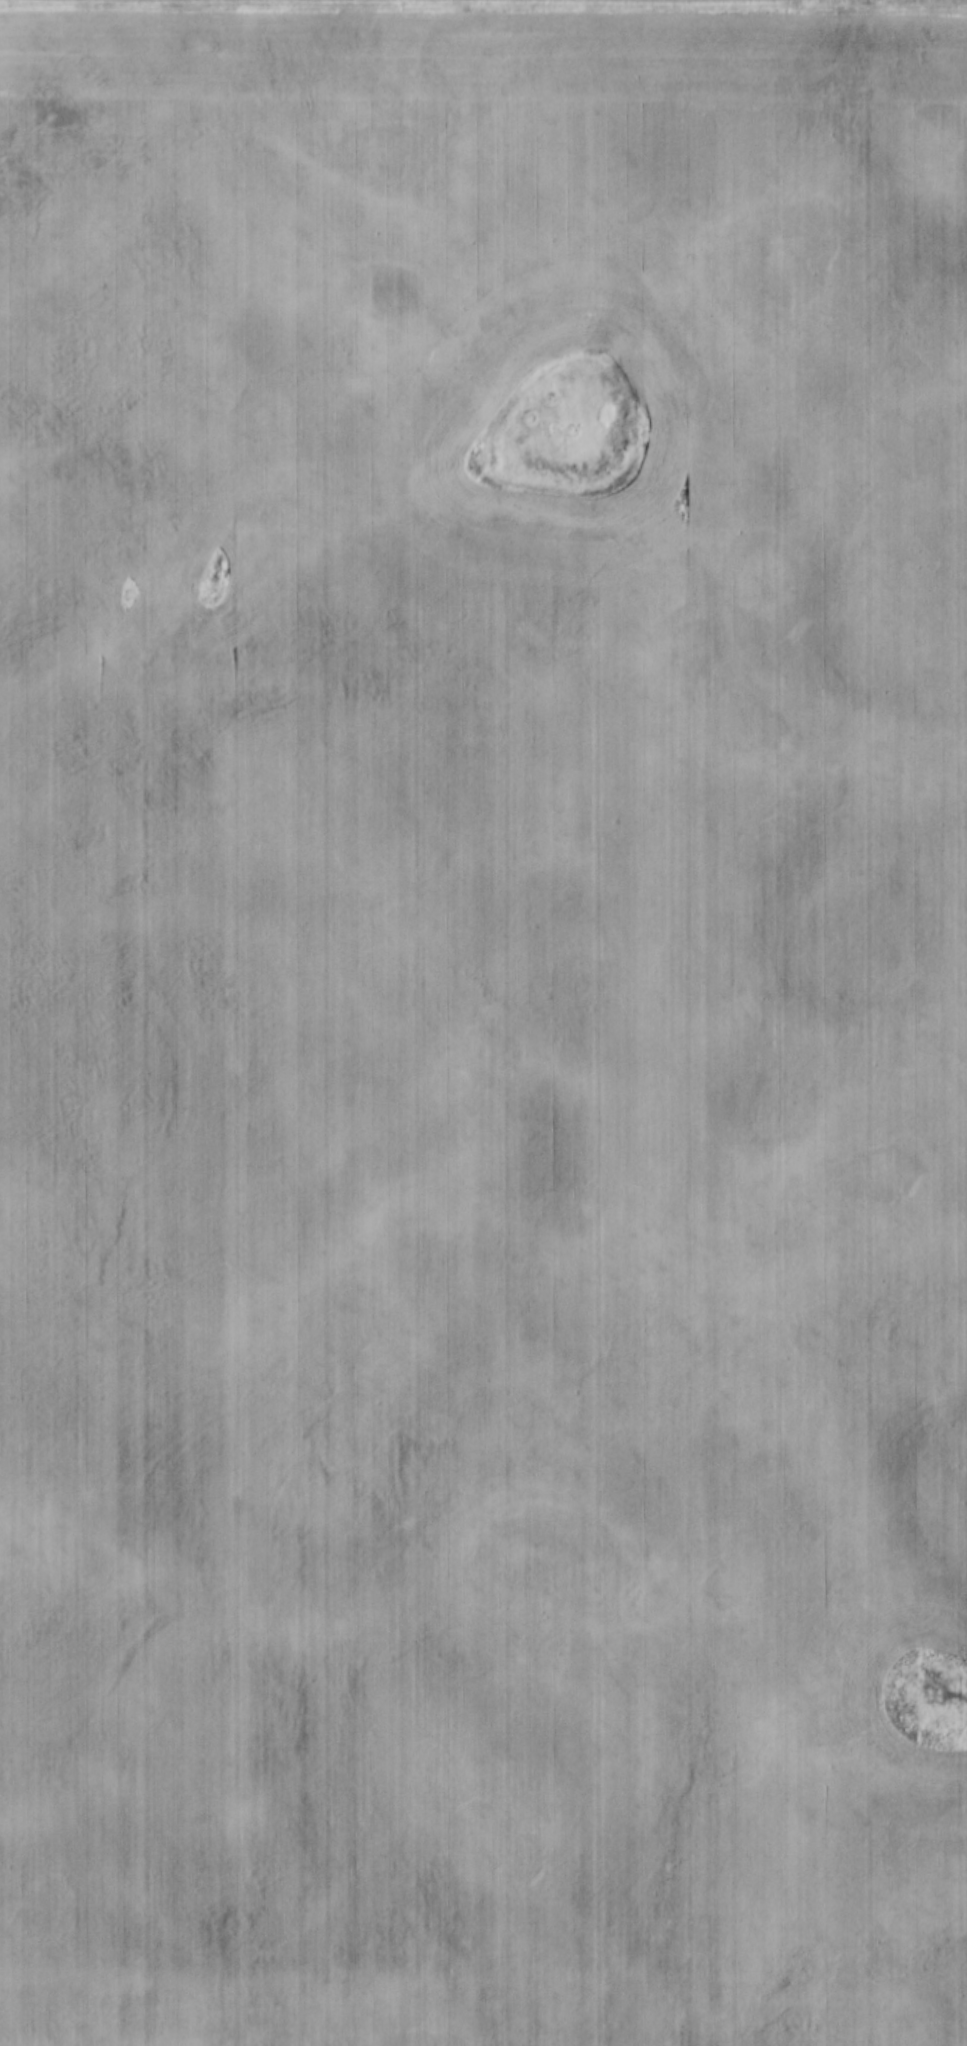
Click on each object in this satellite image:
road: (483, 1)

